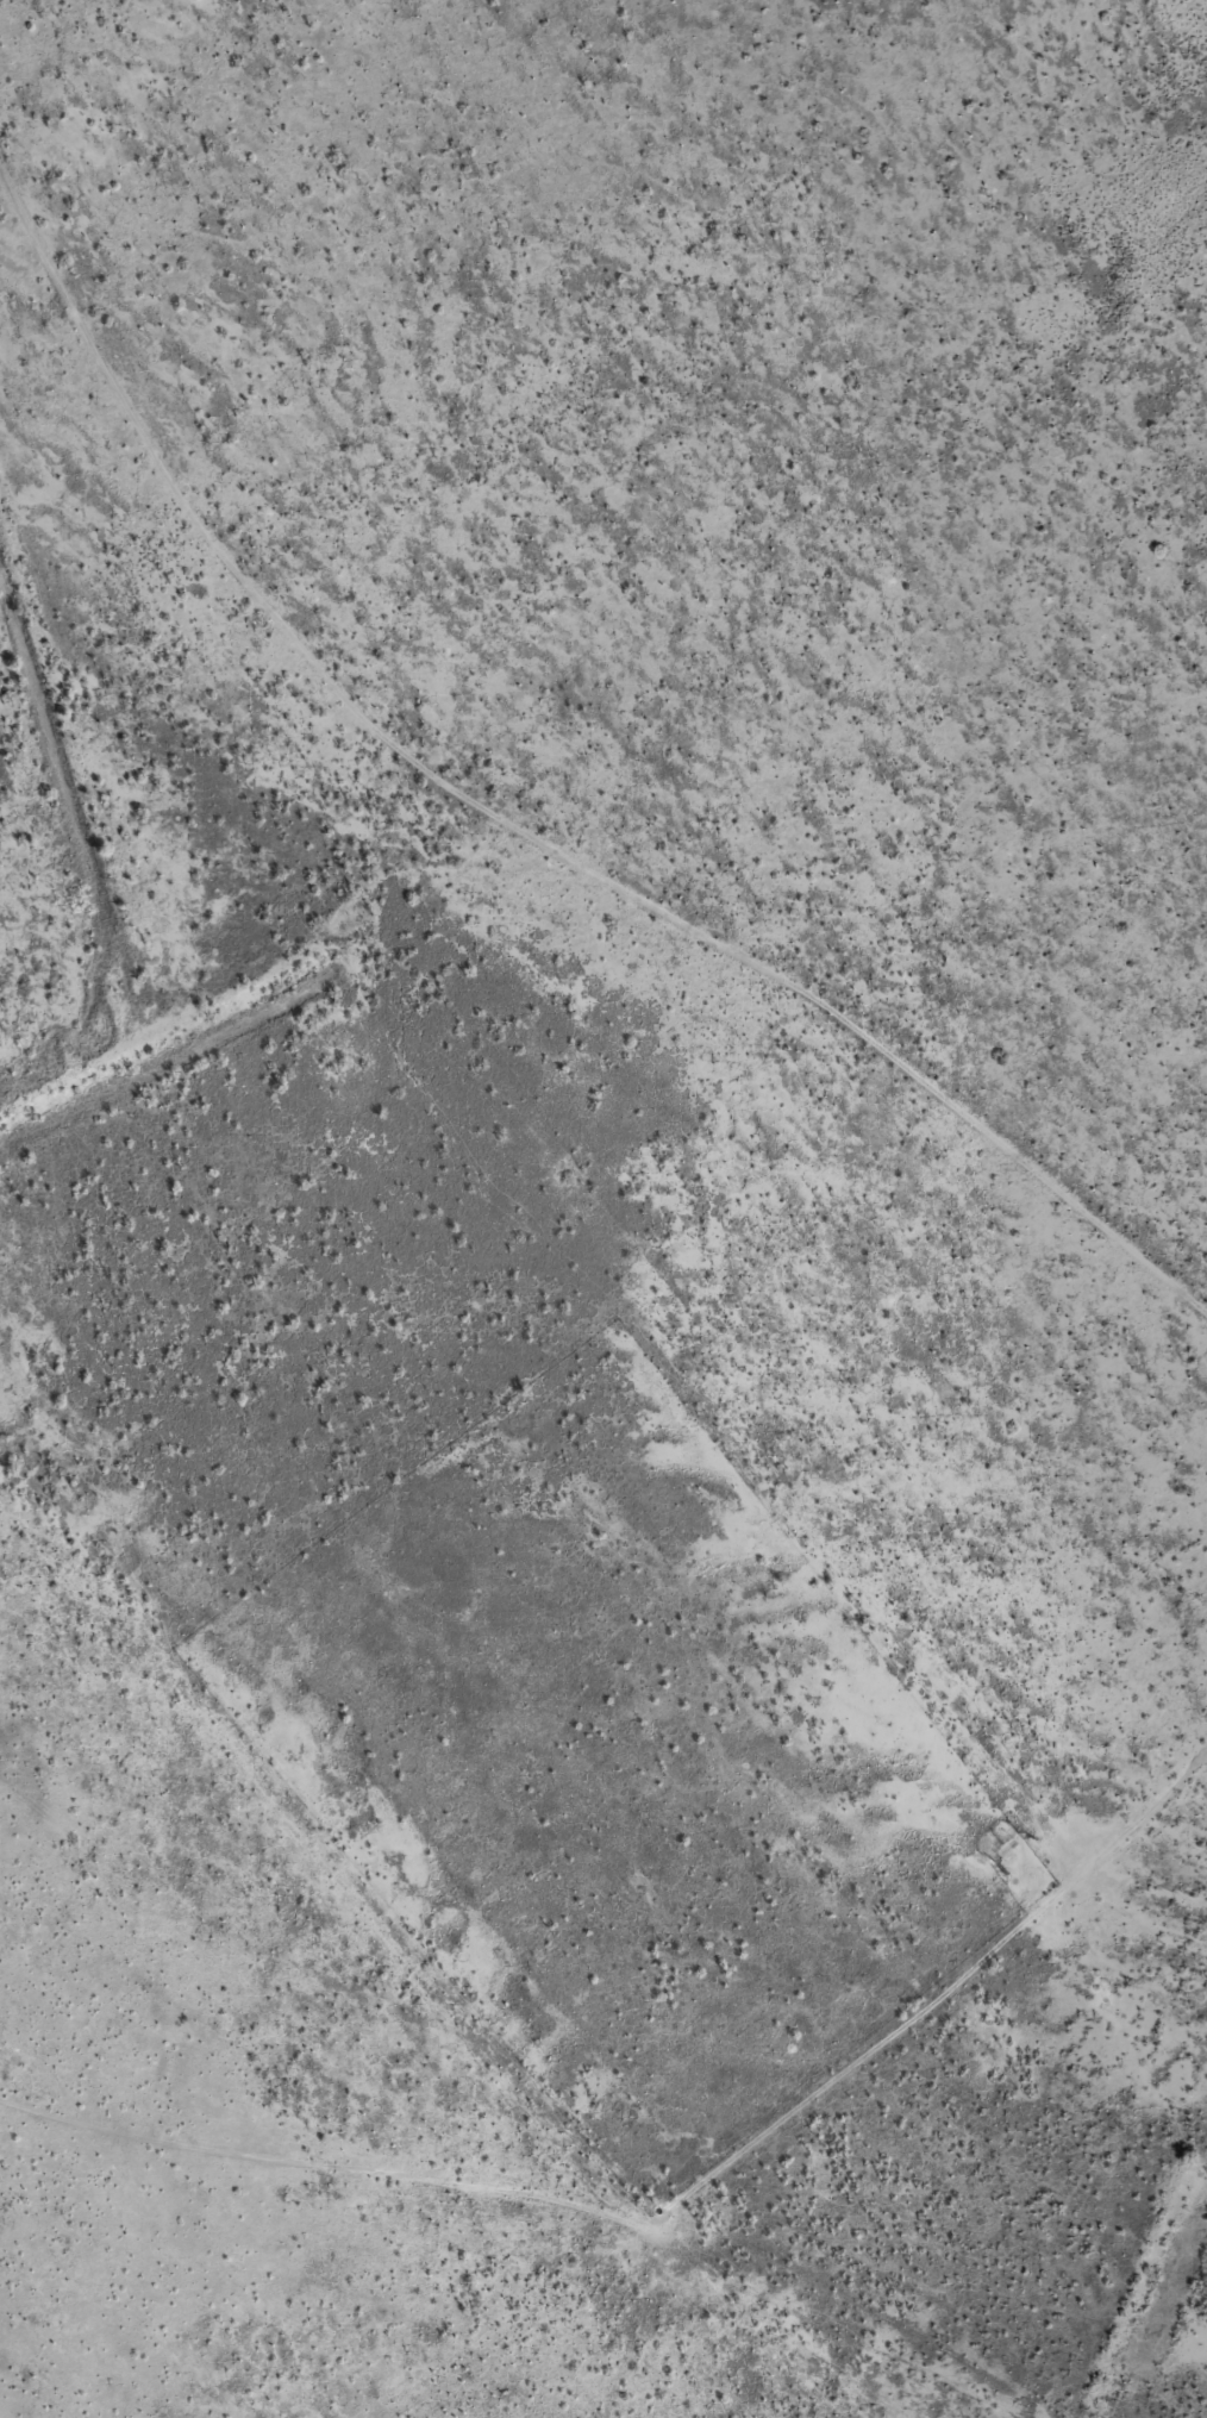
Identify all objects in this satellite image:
road: (524, 806)
road: (863, 2100)

